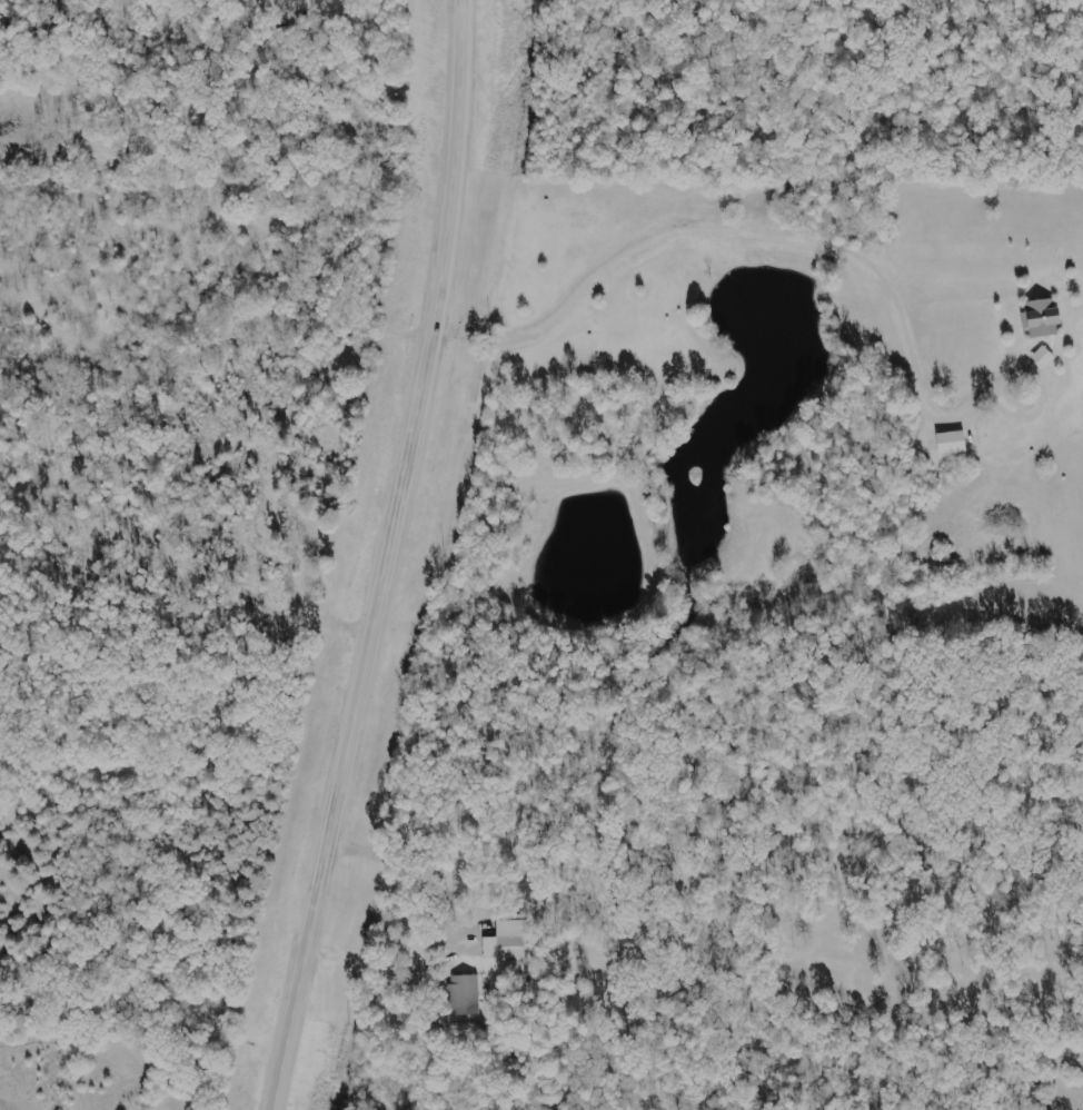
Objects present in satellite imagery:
road: (926, 205)
building: (1042, 318)
building: (1043, 358)
building: (952, 443)
road: (385, 557)
building: (506, 939)
building: (465, 995)

